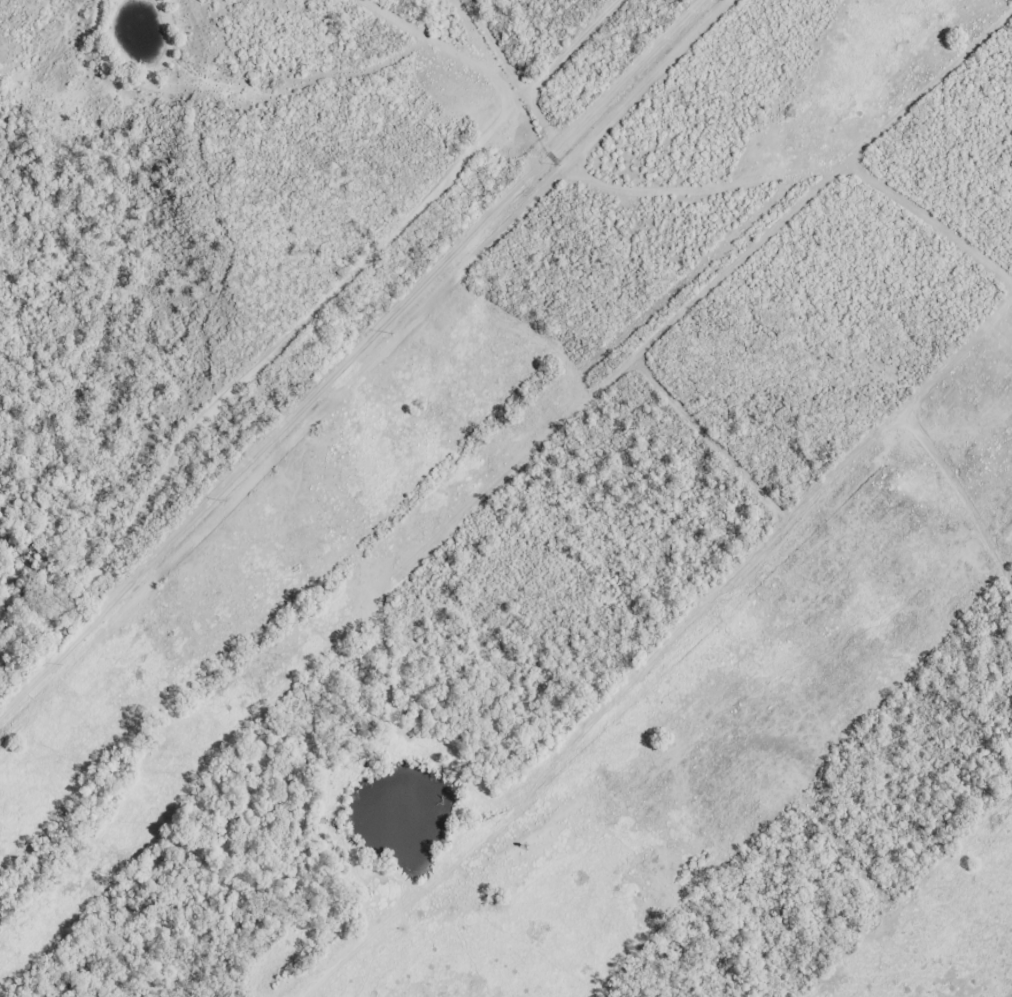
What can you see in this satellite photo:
road: (351, 354)
road: (405, 408)

